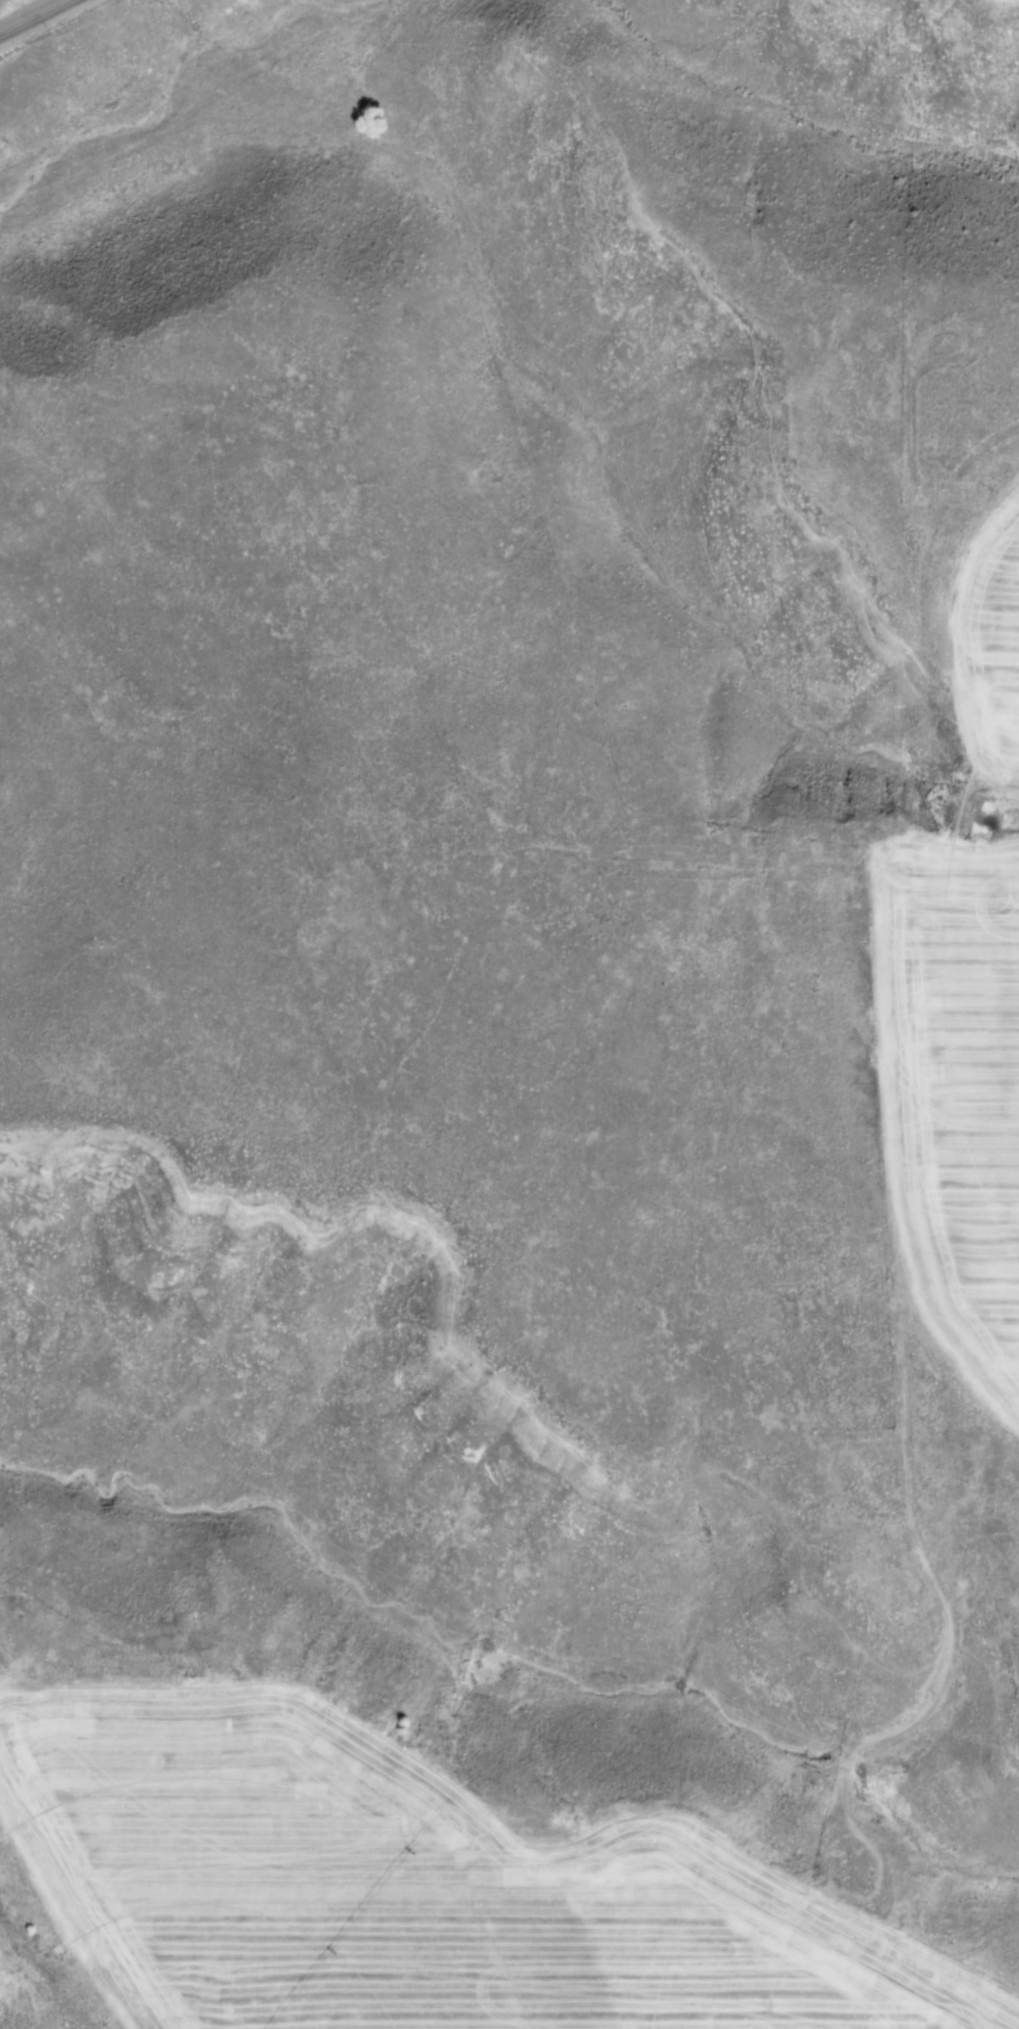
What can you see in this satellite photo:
road: (36, 19)

